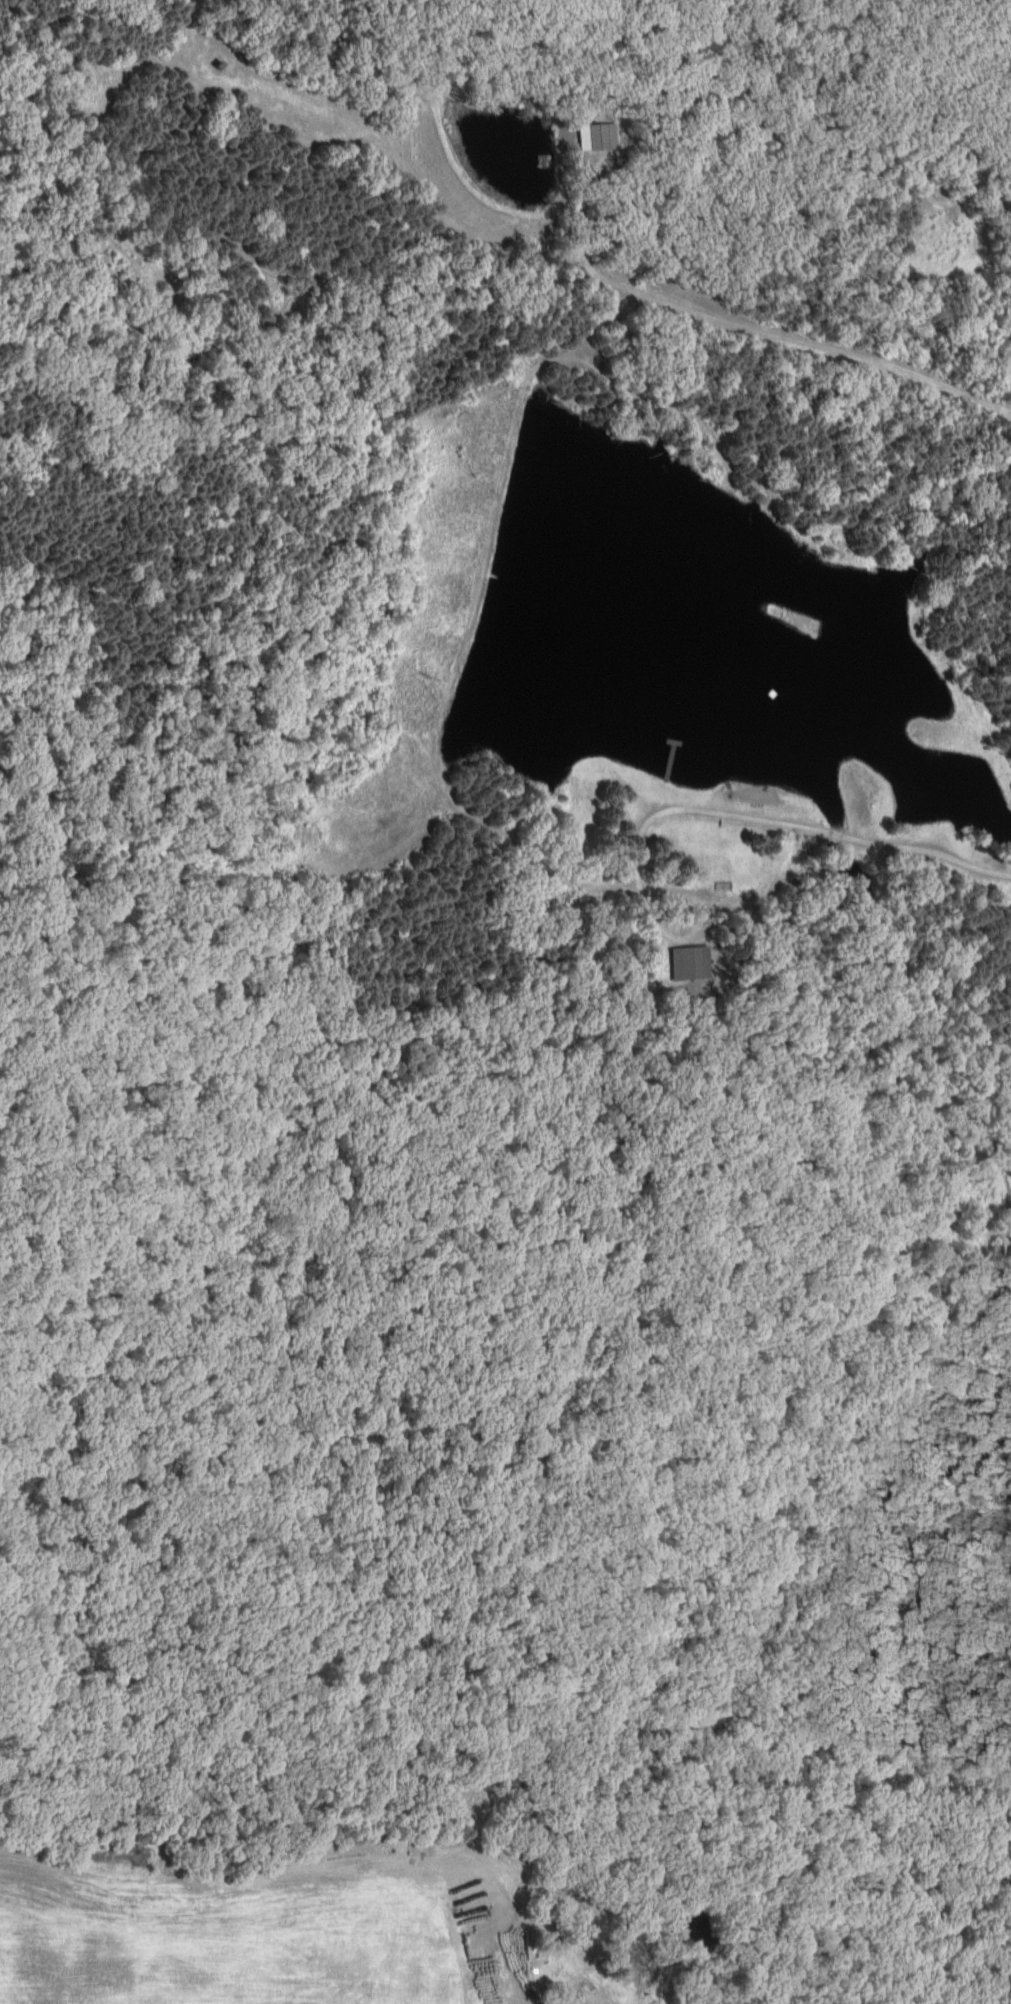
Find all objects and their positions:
building: (600, 137)
road: (755, 331)
building: (736, 891)
building: (693, 964)

